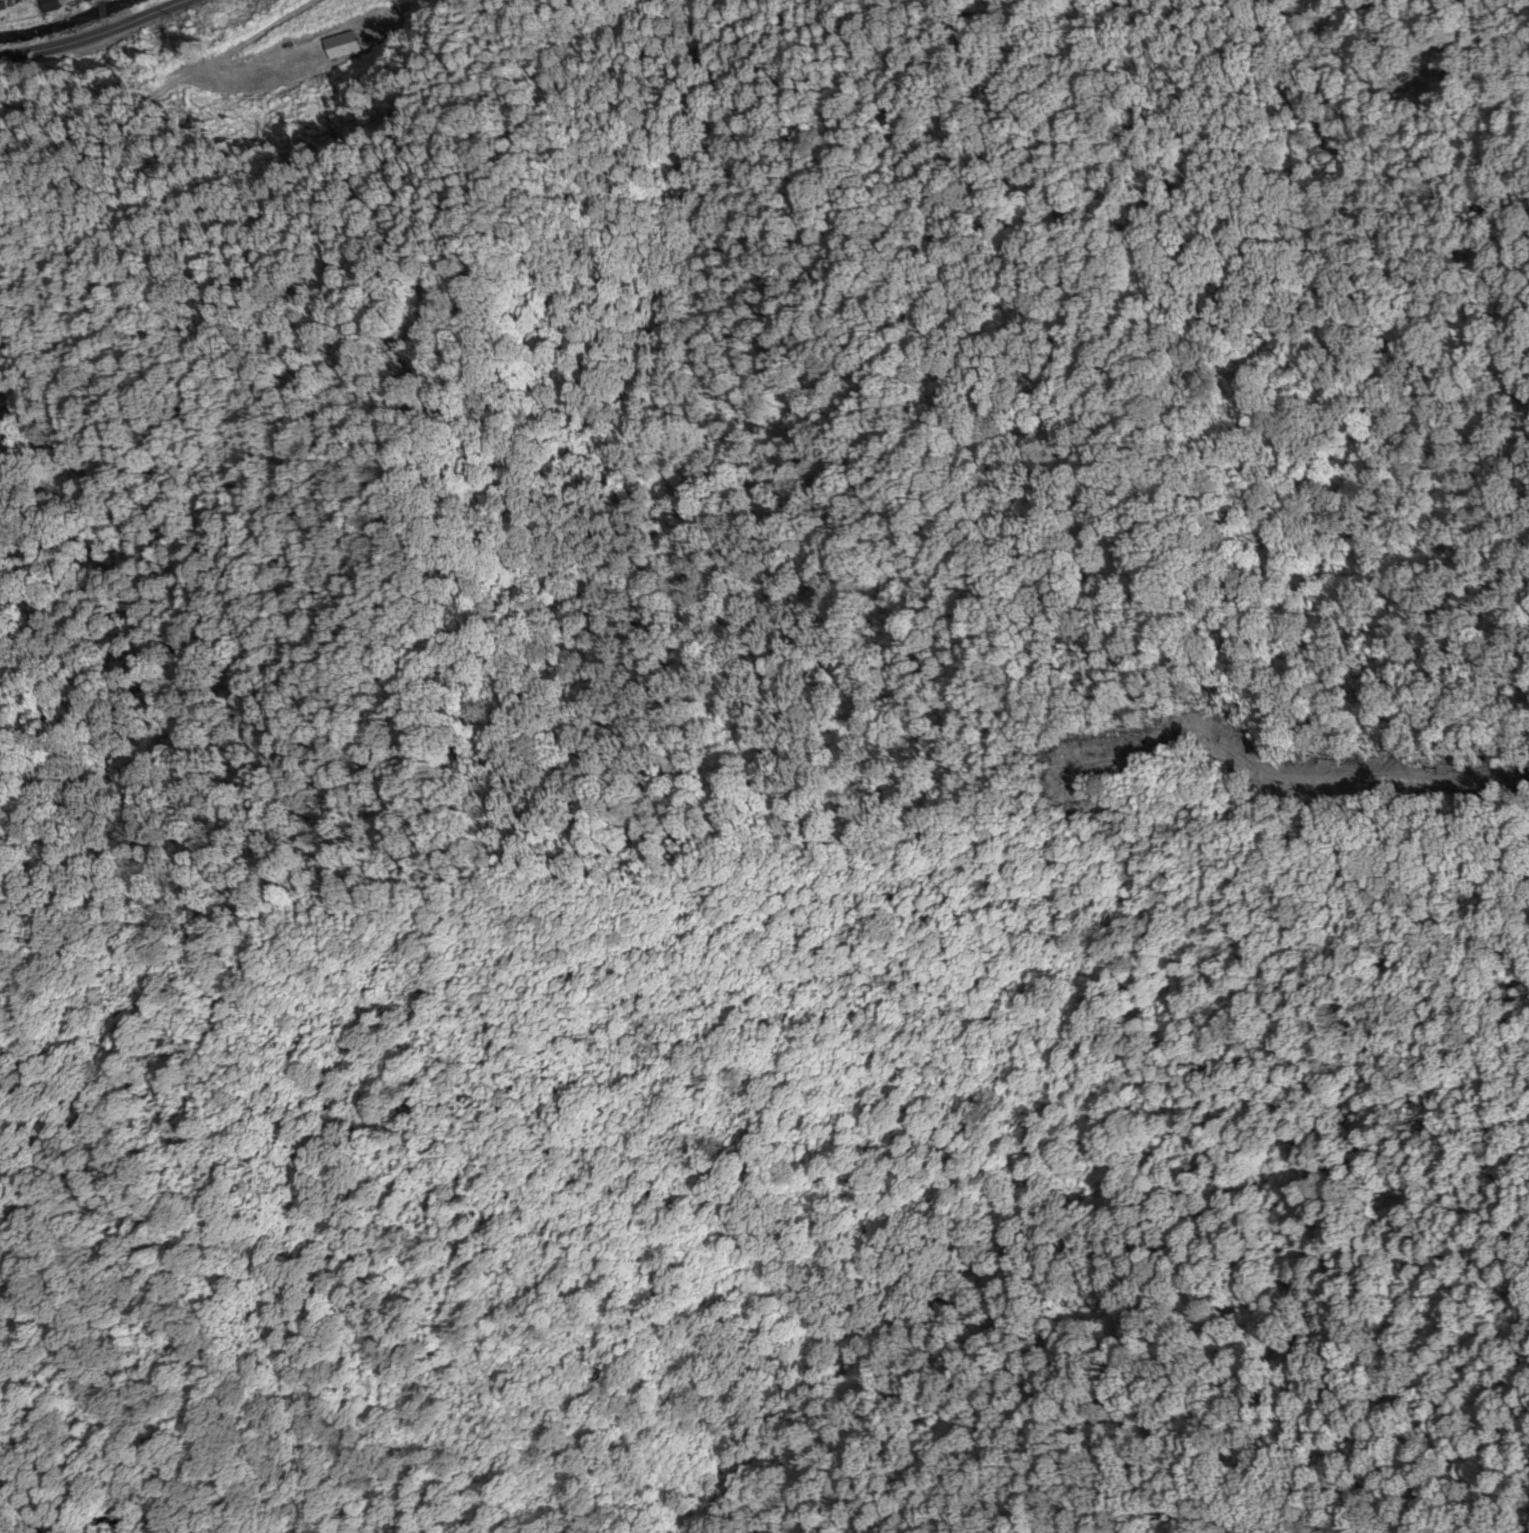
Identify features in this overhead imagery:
road: (98, 35)
road: (1331, 40)

